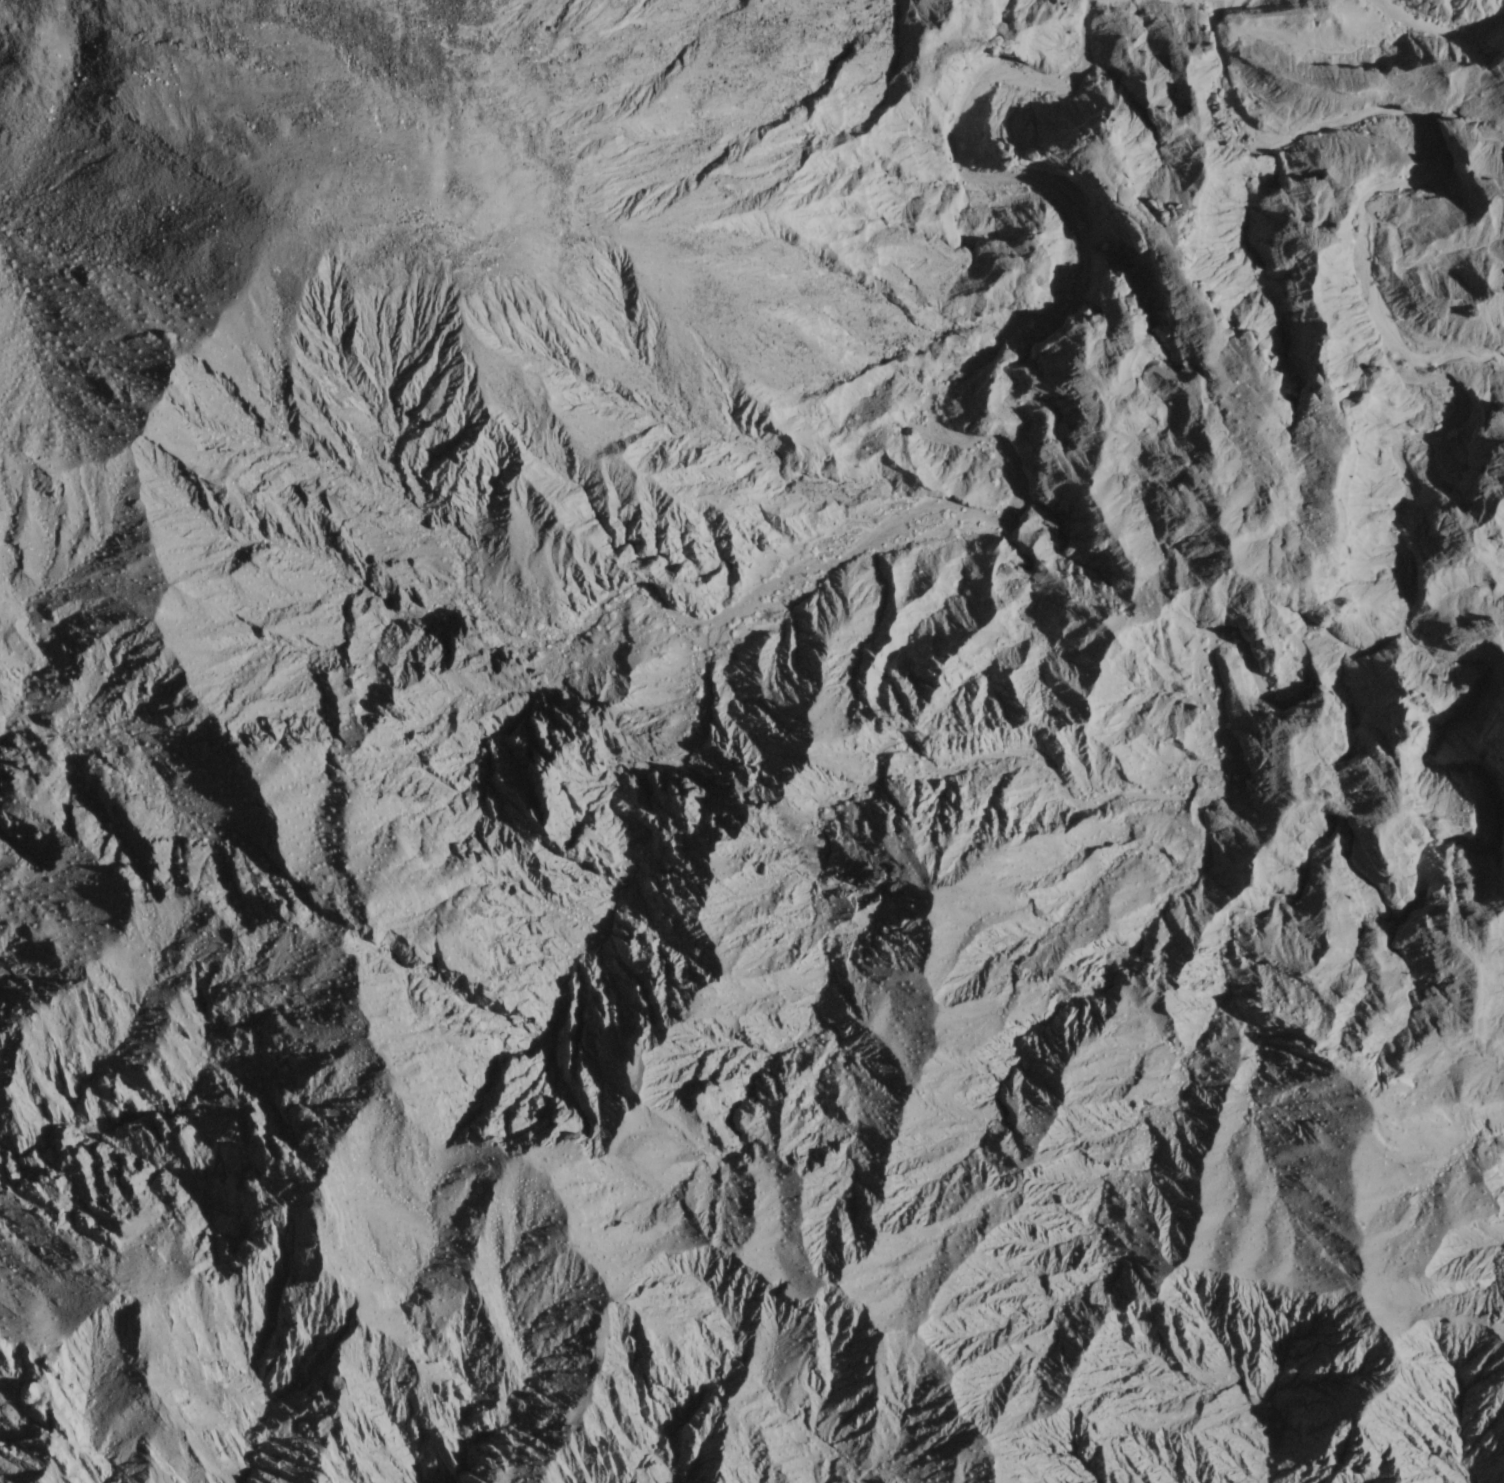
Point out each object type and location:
road: (1442, 29)

